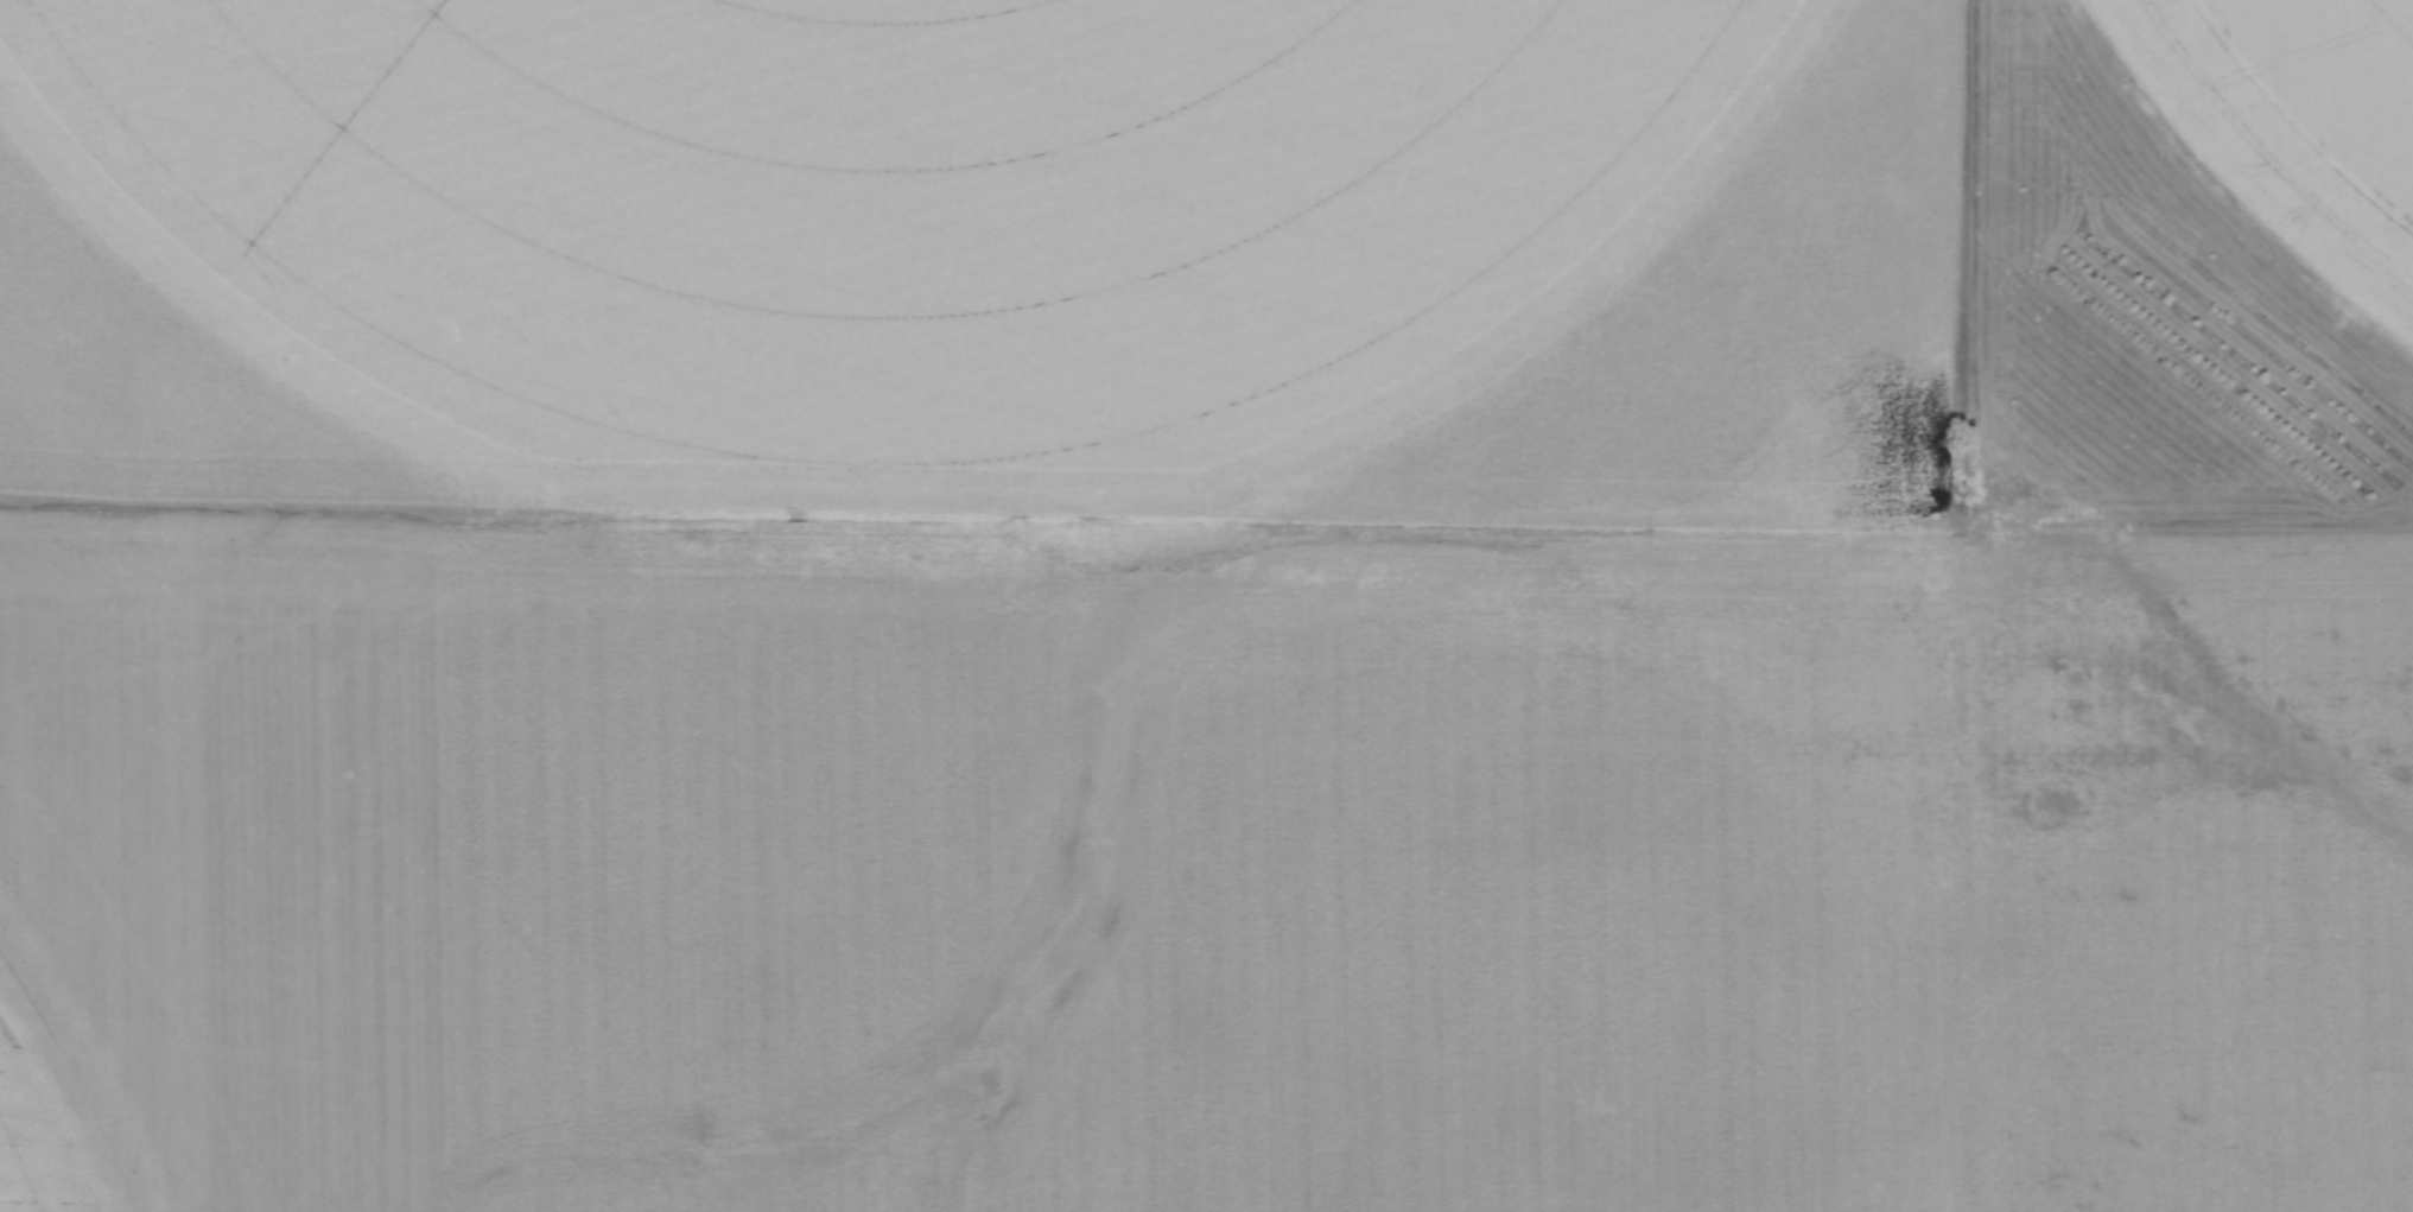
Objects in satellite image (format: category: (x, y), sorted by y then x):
road: (1961, 267)
road: (2191, 531)

